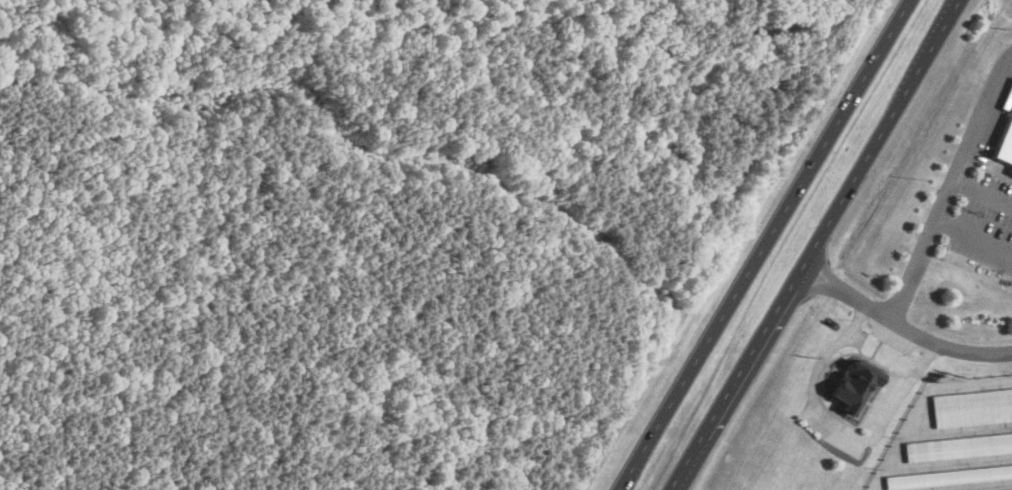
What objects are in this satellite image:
building: (1006, 144)
road: (948, 182)
road: (981, 190)
road: (973, 232)
road: (814, 244)
road: (763, 245)
road: (902, 324)
building: (854, 387)
building: (972, 406)
road: (837, 428)
building: (958, 445)
building: (949, 474)
building: (1006, 489)

